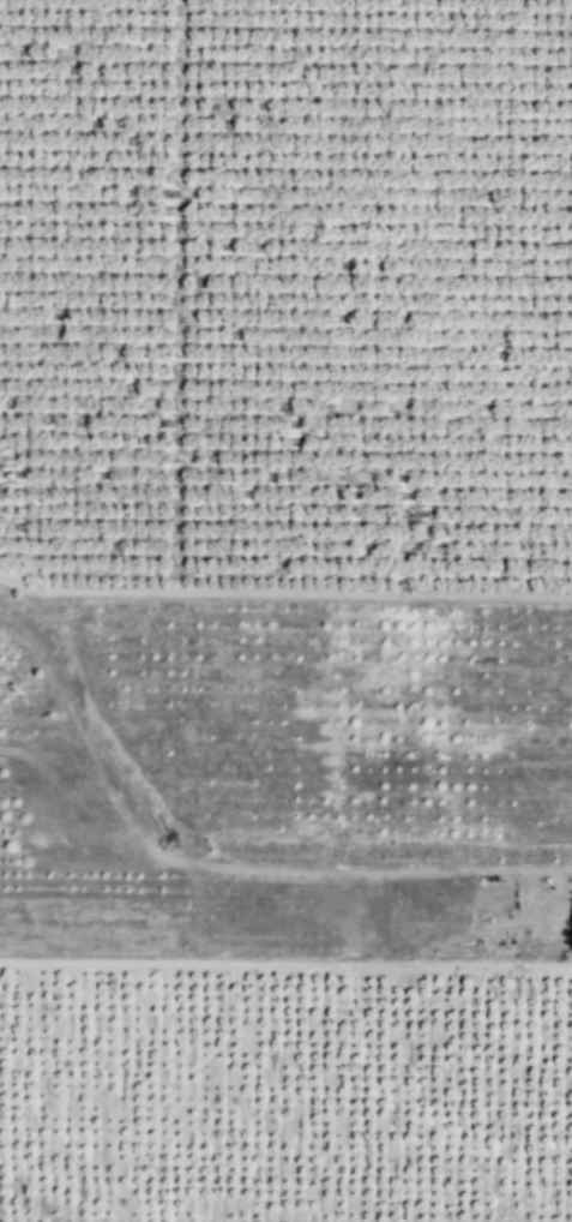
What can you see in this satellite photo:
road: (285, 959)

